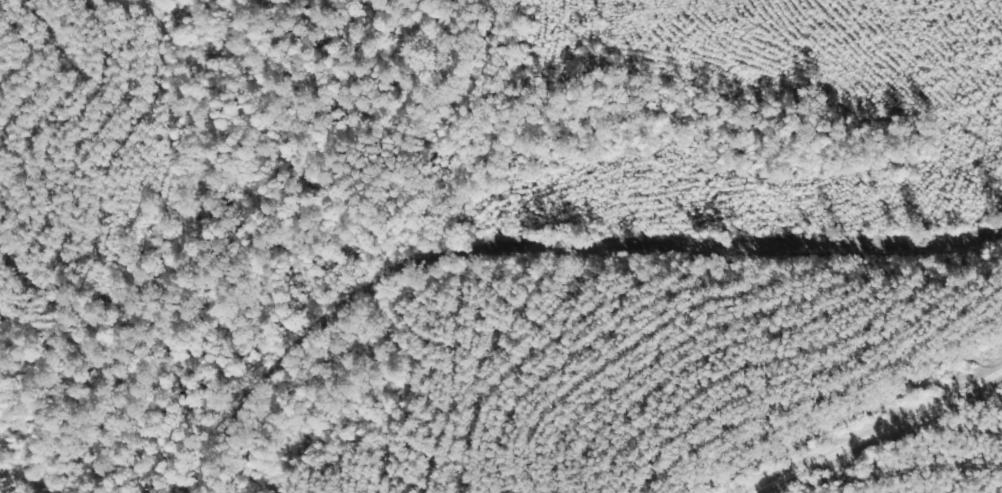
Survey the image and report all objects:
road: (543, 249)
road: (876, 433)

